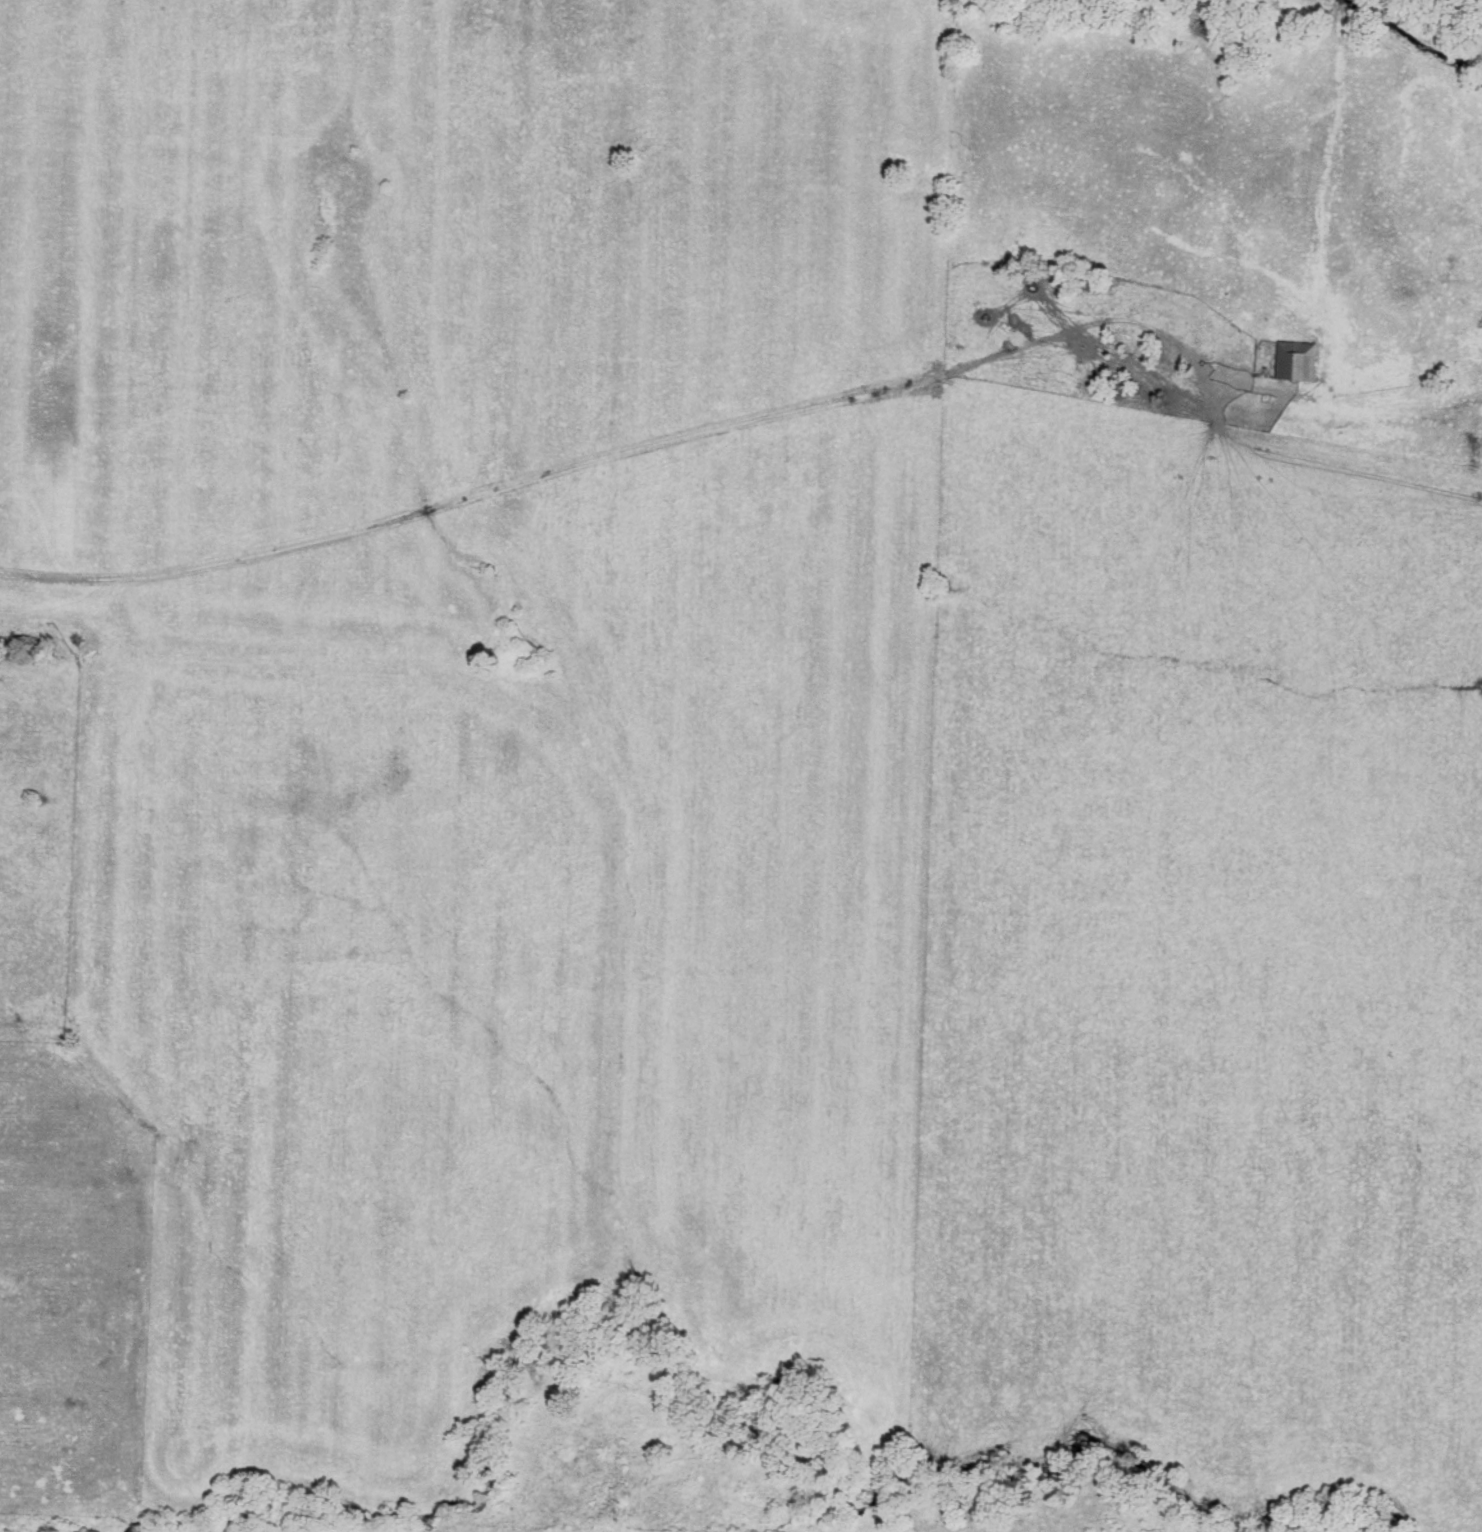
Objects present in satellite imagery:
building: (1077, 286)
building: (1296, 361)

